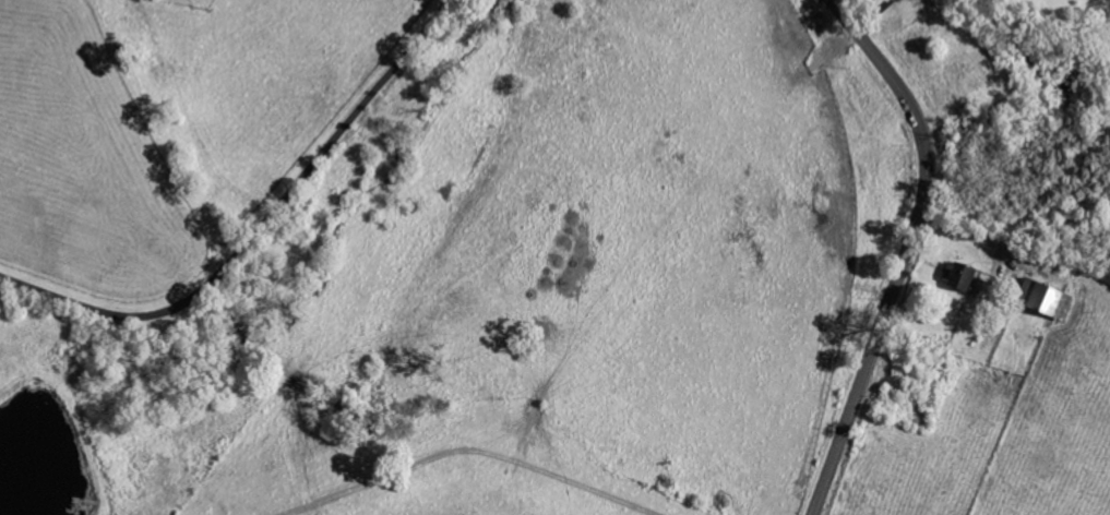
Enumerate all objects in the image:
road: (872, 15)
road: (256, 229)
road: (908, 249)
building: (958, 277)
building: (1041, 300)

